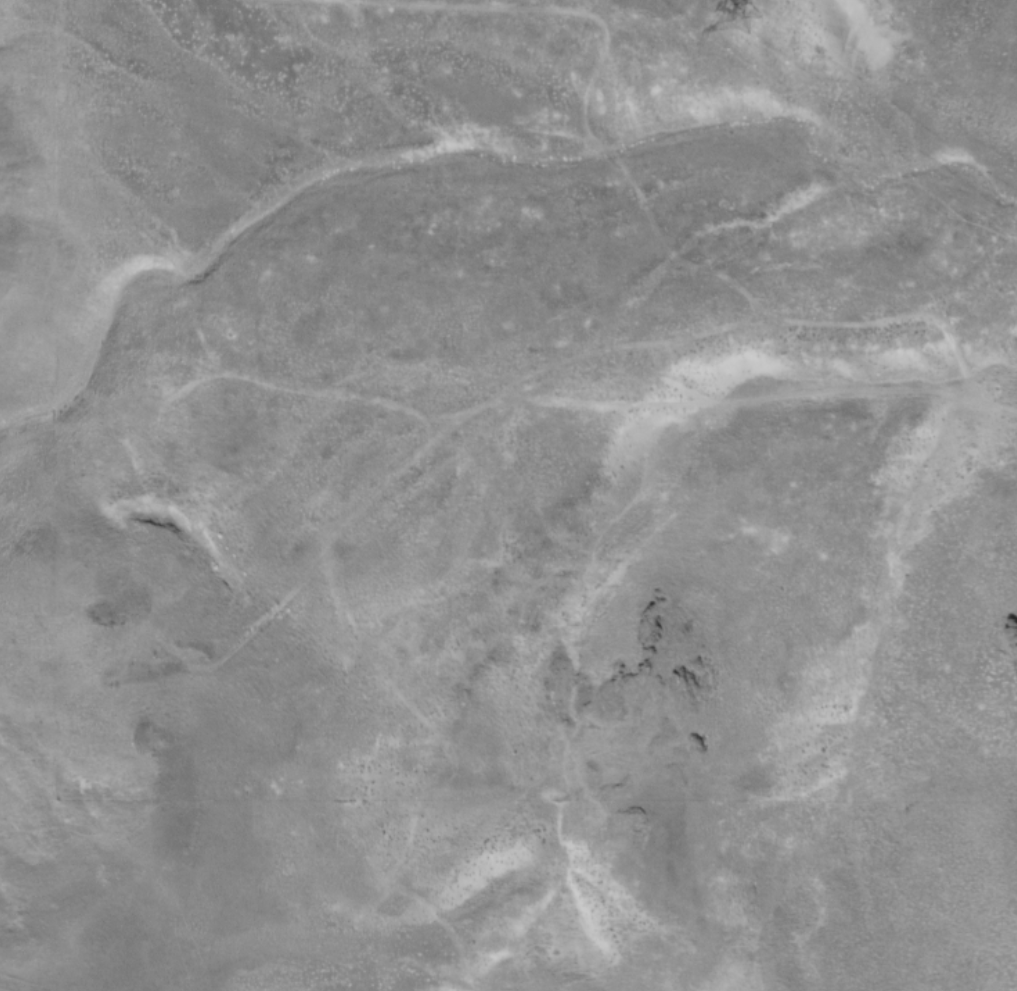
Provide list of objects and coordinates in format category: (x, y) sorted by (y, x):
power tower: (752, 18)
road: (601, 56)
road: (181, 295)
road: (585, 354)
road: (736, 400)
road: (444, 780)

